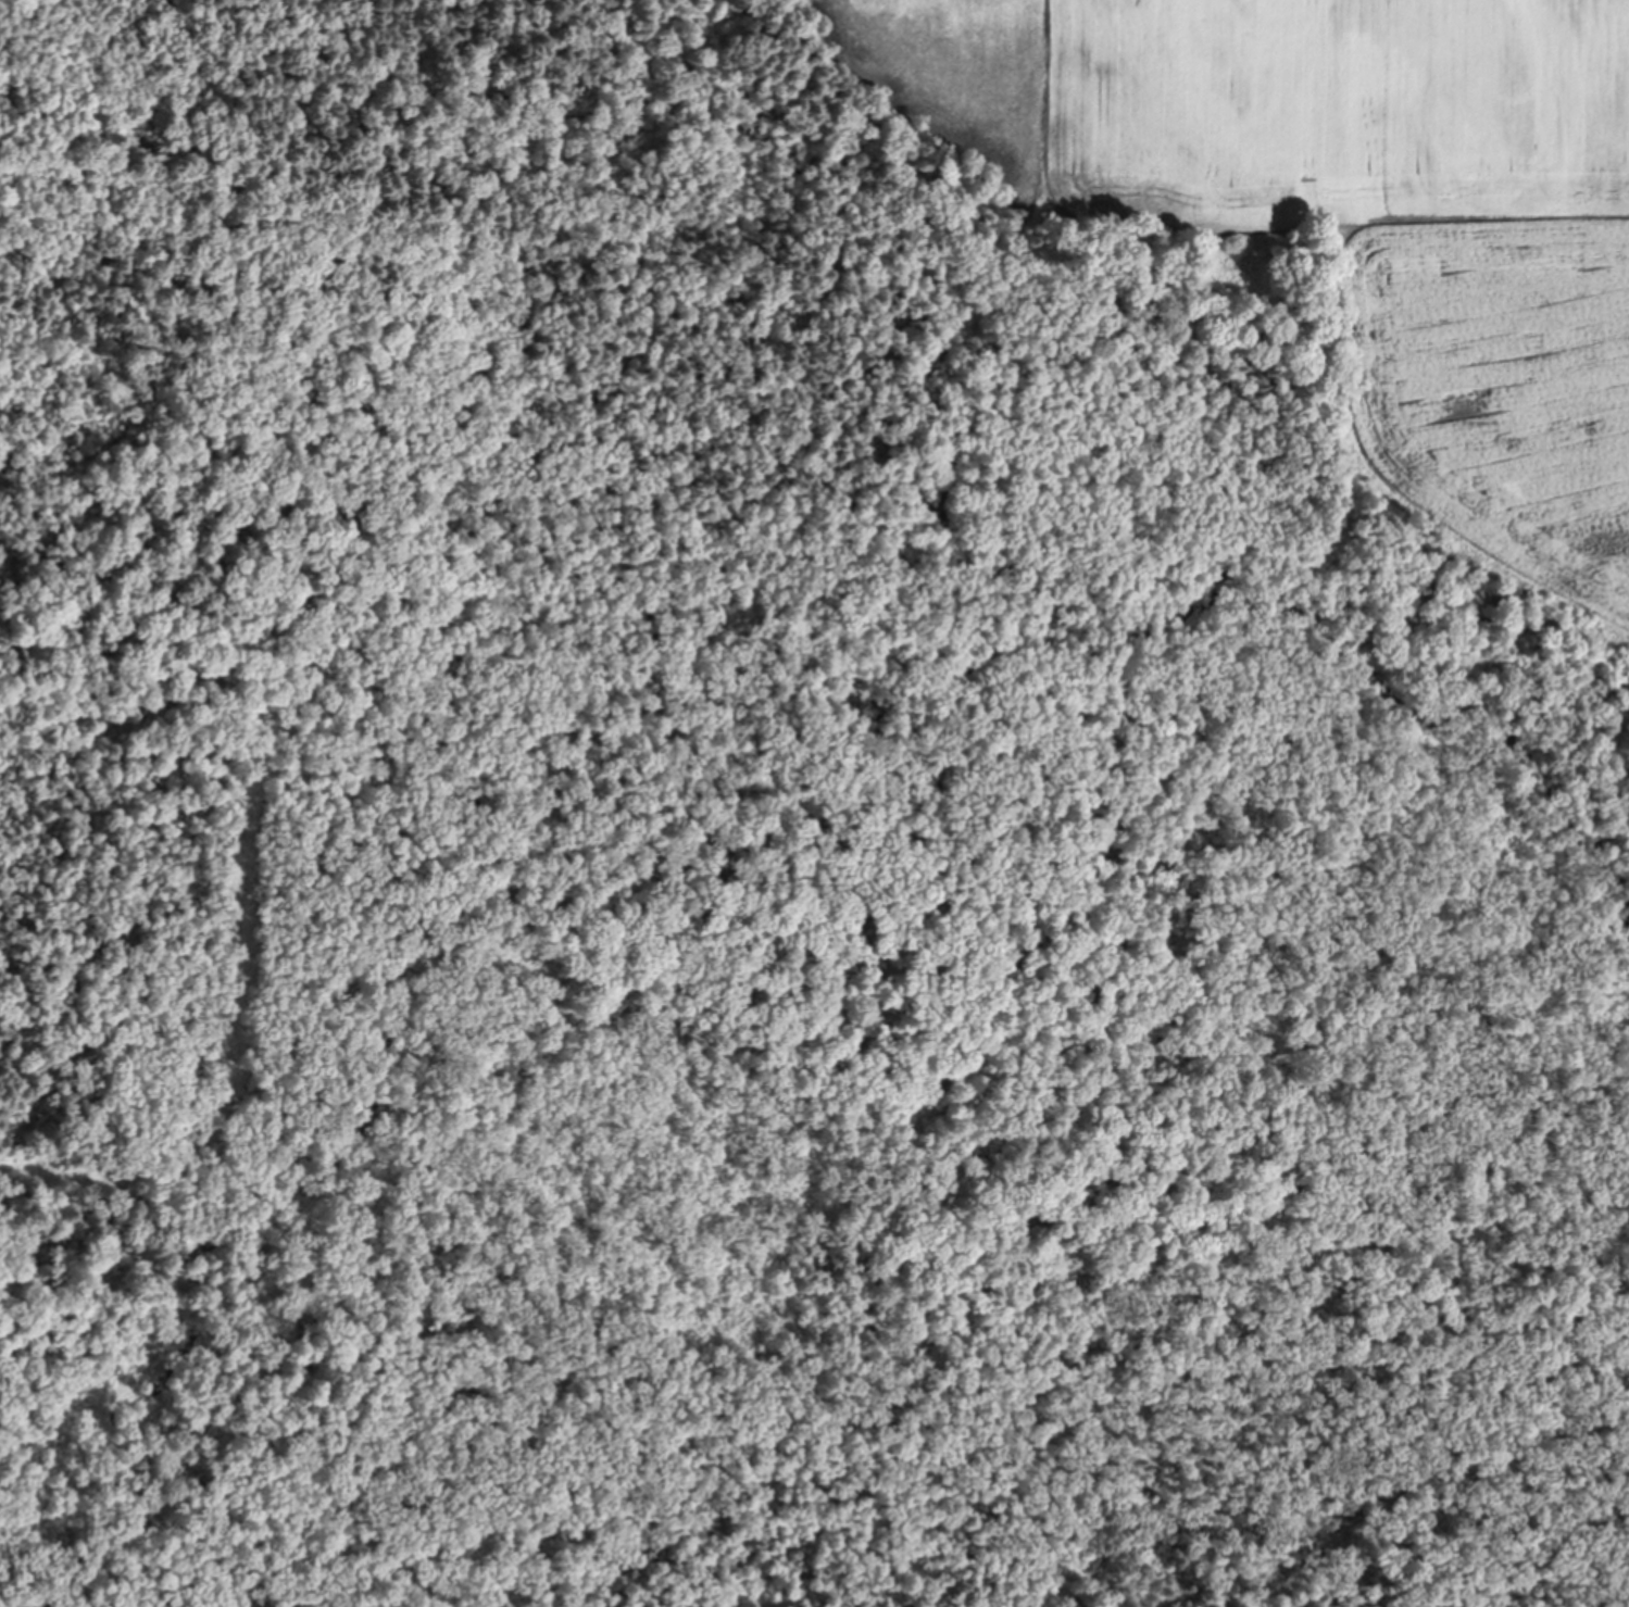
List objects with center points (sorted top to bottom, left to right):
building: (1273, 254)

